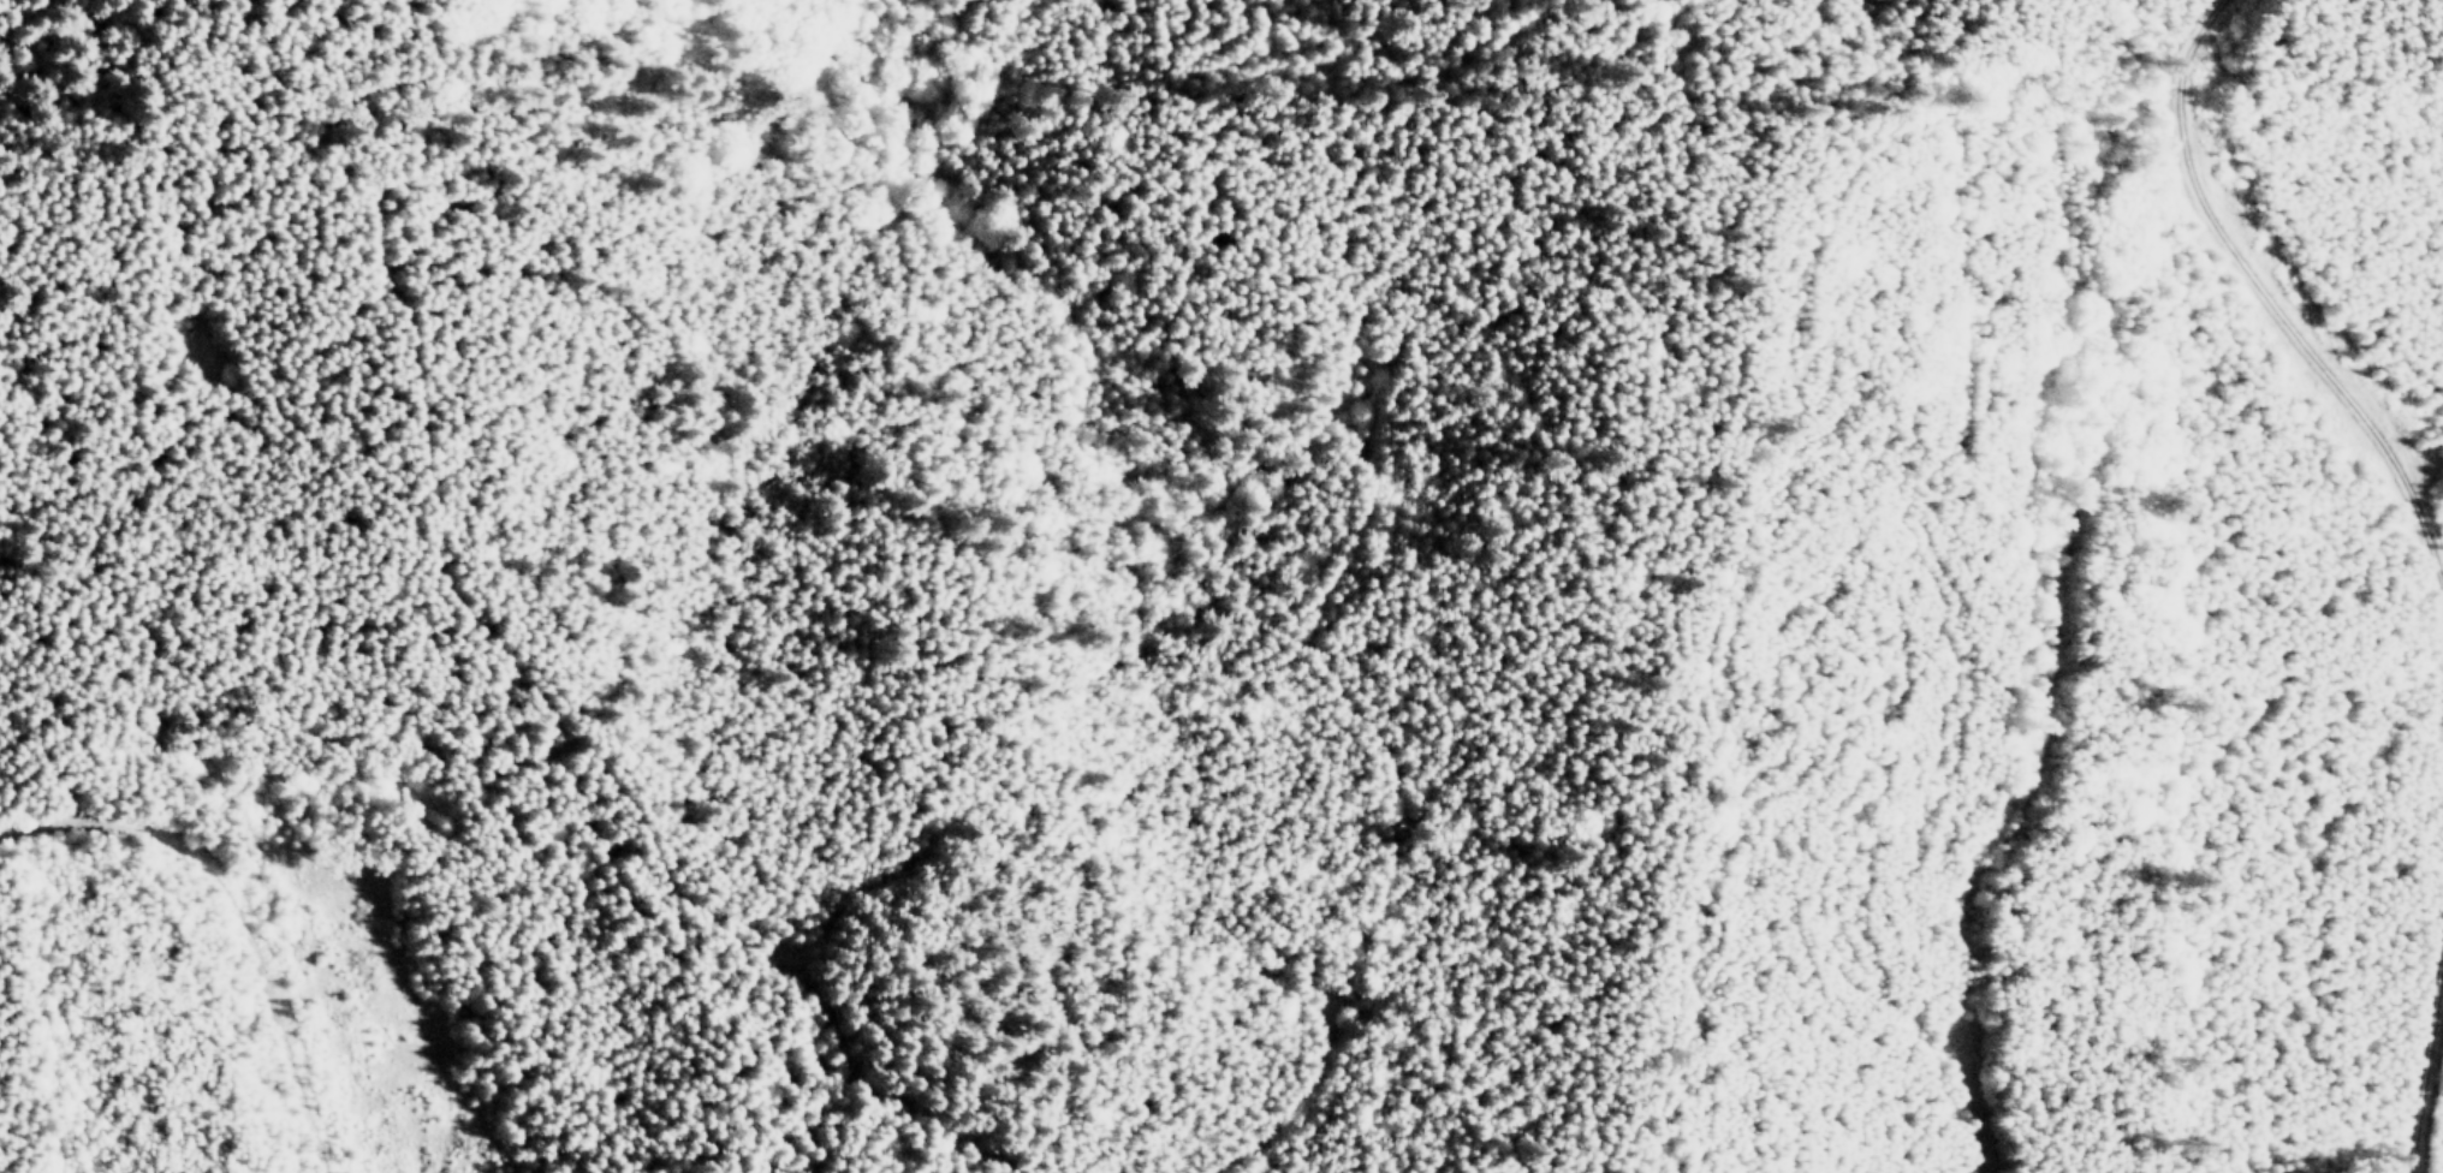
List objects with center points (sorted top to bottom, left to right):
road: (236, 912)

